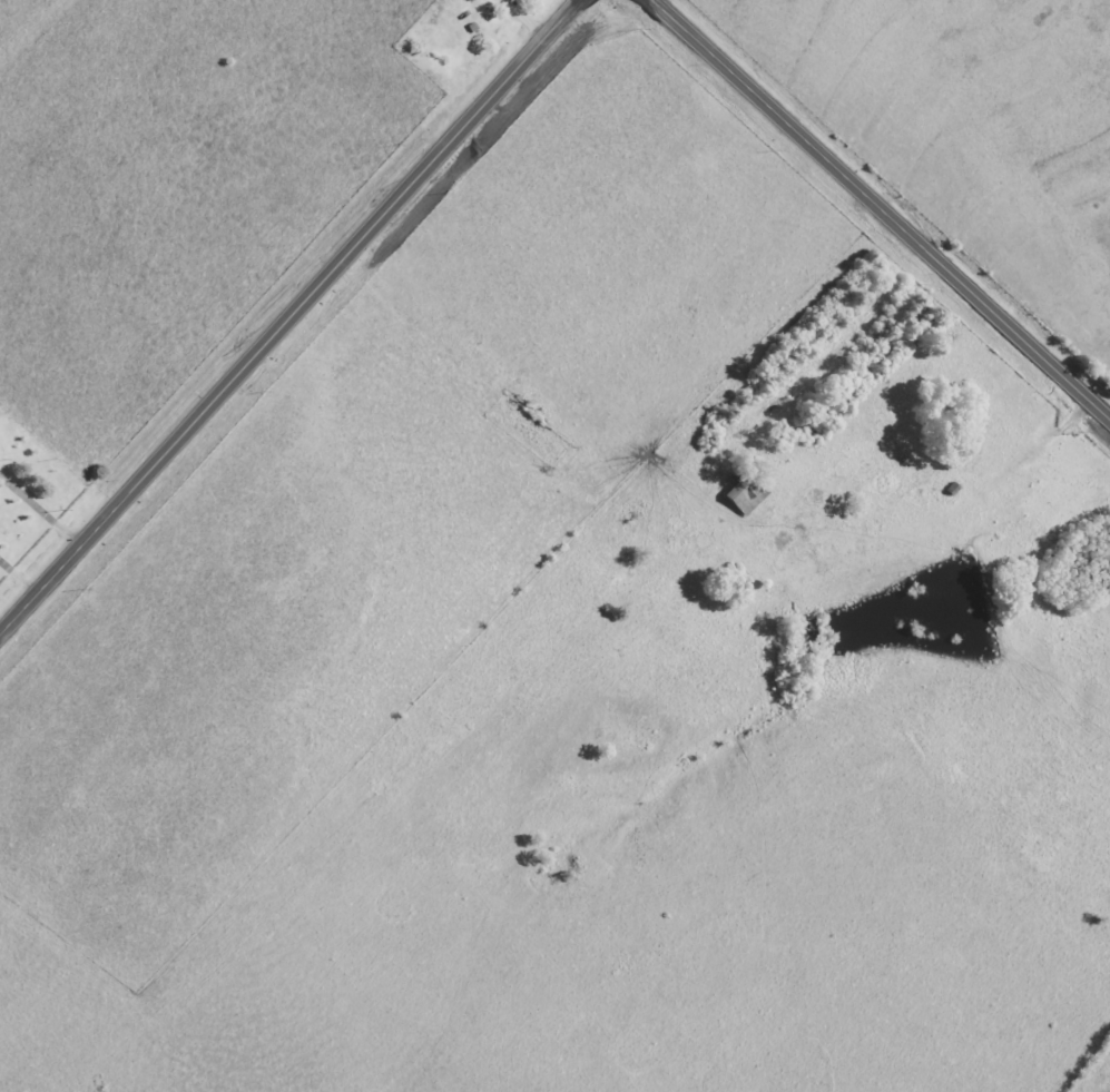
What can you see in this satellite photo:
road: (882, 205)
road: (288, 316)
road: (42, 499)
road: (21, 567)

